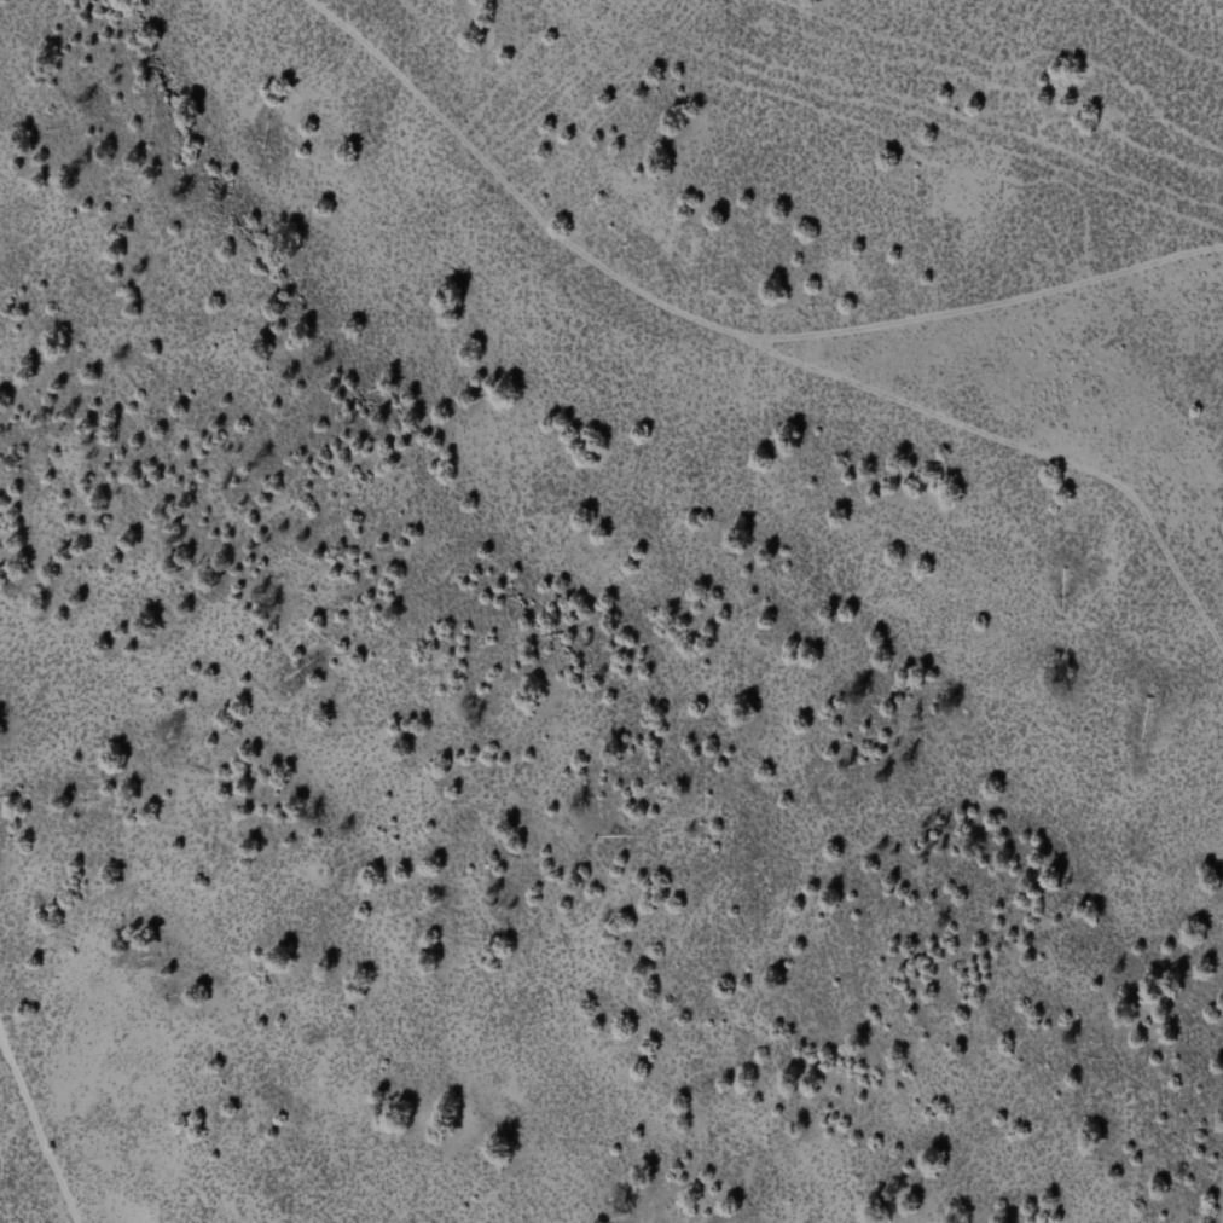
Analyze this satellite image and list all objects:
road: (707, 330)
road: (1021, 454)
road: (40, 1123)

